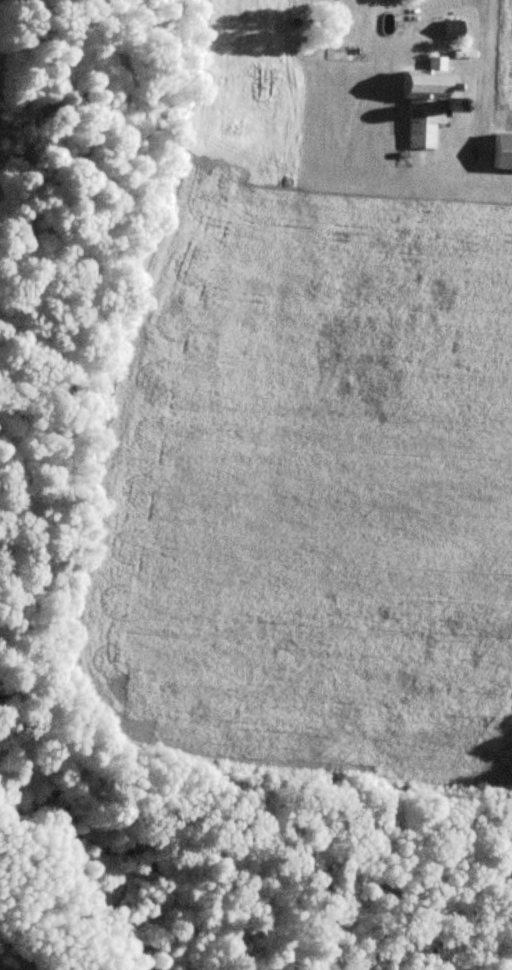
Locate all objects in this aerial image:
road: (460, 4)
building: (450, 29)
building: (423, 102)
building: (501, 151)

